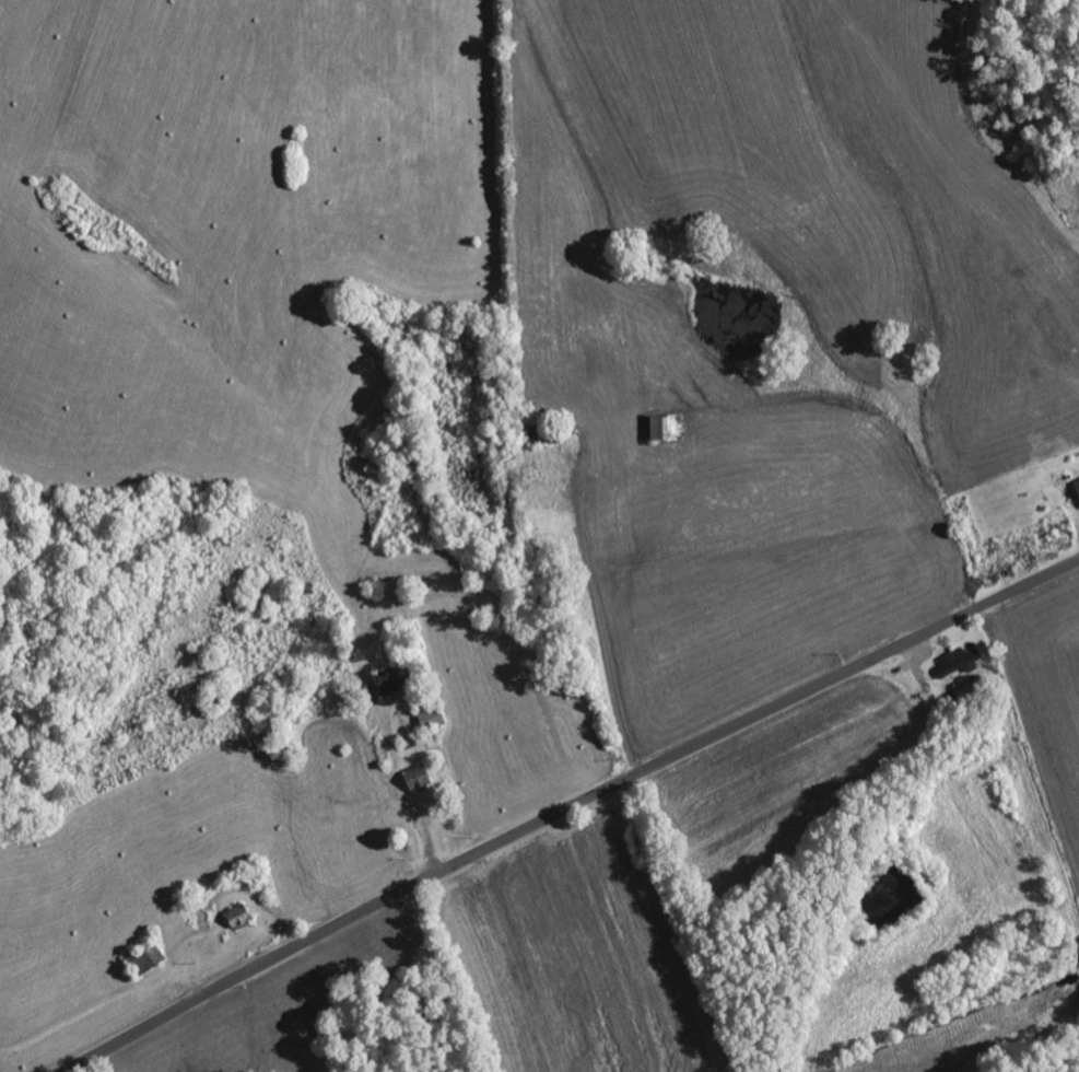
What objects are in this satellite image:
building: (659, 428)
building: (1075, 492)
building: (952, 663)
building: (425, 720)
building: (410, 780)
road: (565, 808)

